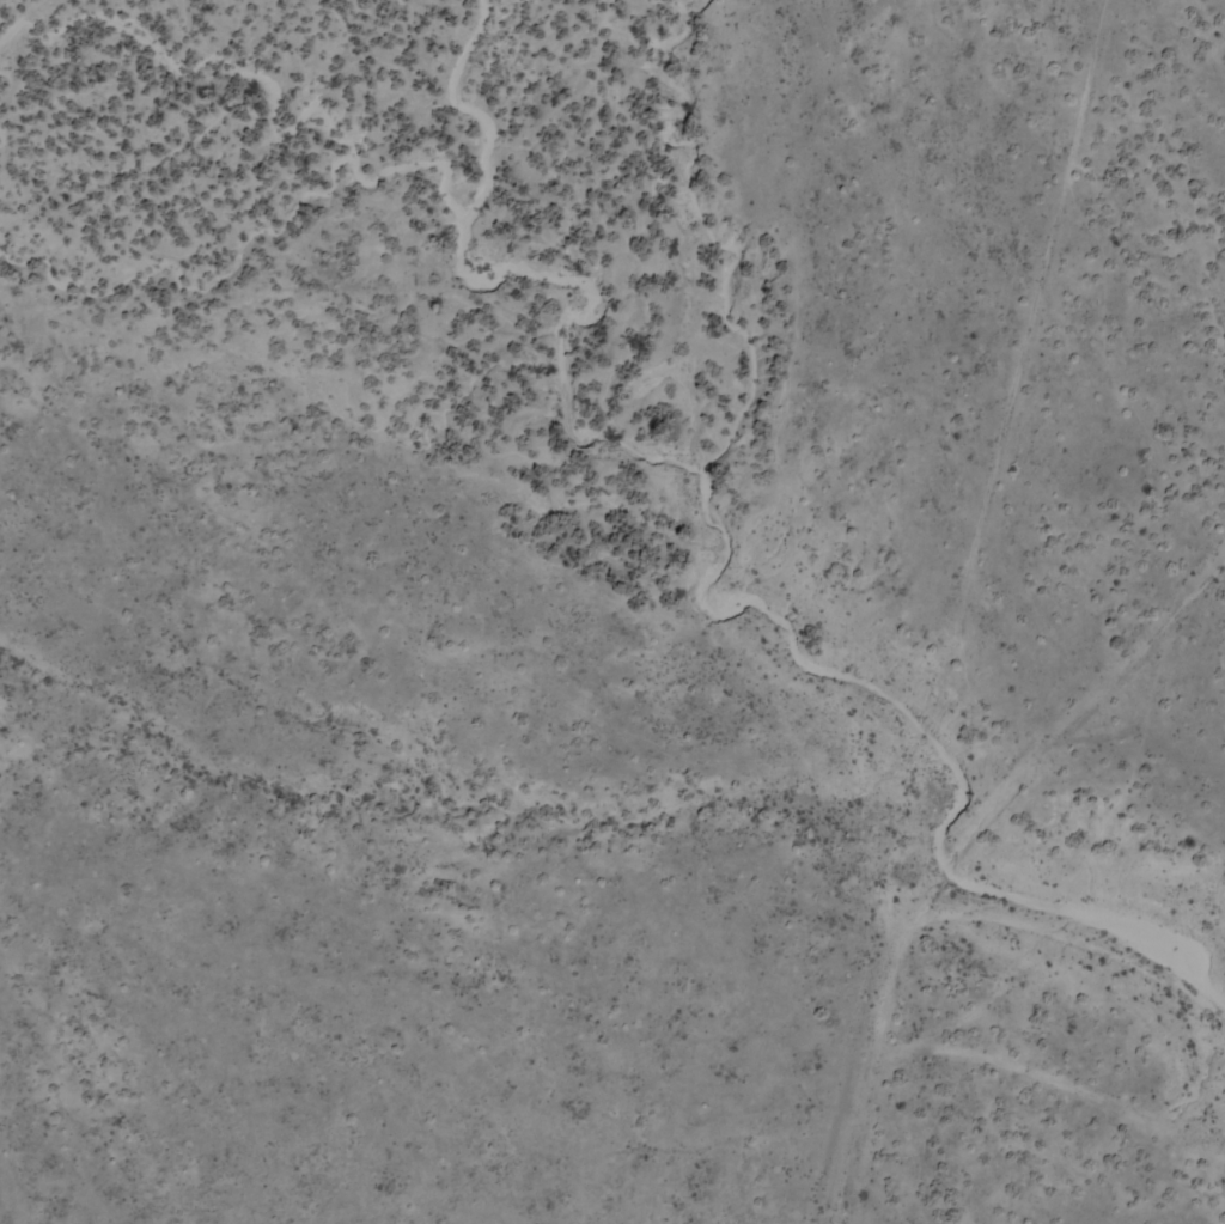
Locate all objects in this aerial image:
road: (17, 17)

